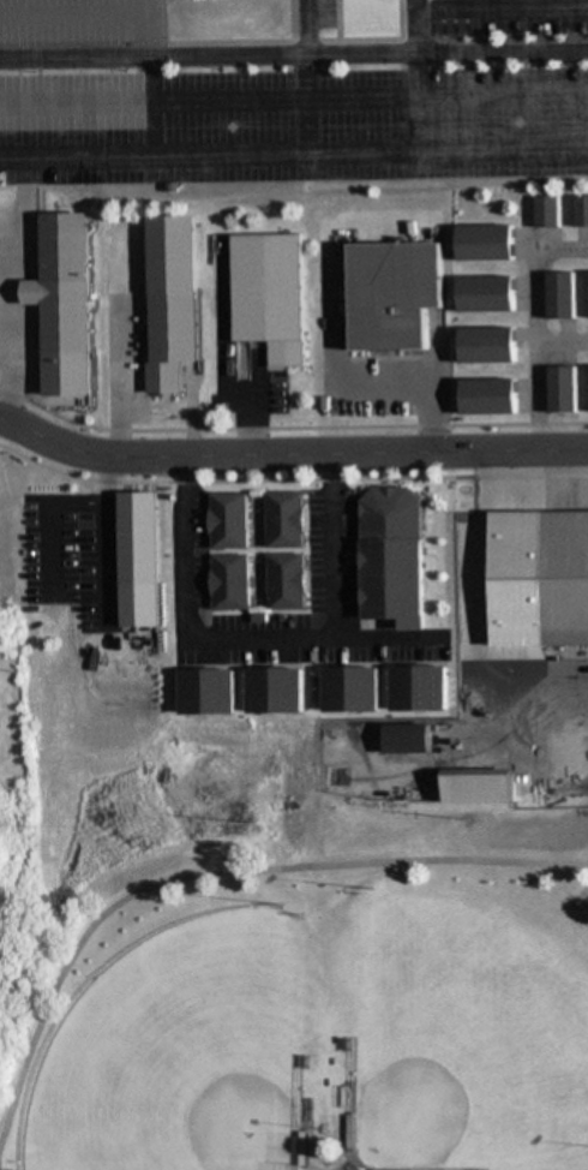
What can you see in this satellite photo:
road: (496, 8)
road: (70, 13)
parking lot: (316, 17)
parking lot: (77, 23)
road: (404, 25)
road: (298, 26)
road: (497, 49)
road: (202, 54)
road: (142, 77)
road: (294, 97)
road: (407, 100)
road: (299, 102)
parking lot: (323, 109)
road: (294, 153)
building: (545, 211)
building: (580, 211)
building: (484, 243)
building: (66, 283)
building: (269, 293)
building: (394, 294)
building: (485, 294)
building: (558, 296)
road: (522, 320)
building: (172, 338)
building: (486, 346)
road: (210, 370)
road: (106, 378)
road: (406, 383)
building: (560, 389)
building: (487, 396)
road: (290, 423)
road: (290, 453)
road: (290, 477)
building: (284, 520)
building: (228, 521)
building: (132, 530)
road: (518, 572)
building: (562, 572)
building: (286, 581)
building: (229, 583)
road: (67, 596)
road: (245, 635)
building: (419, 690)
building: (350, 691)
building: (275, 692)
building: (208, 693)
building: (408, 740)
building: (480, 788)
road: (559, 852)
road: (229, 873)
park: (295, 995)
park: (463, 1040)
park: (179, 1056)
road: (332, 1154)

